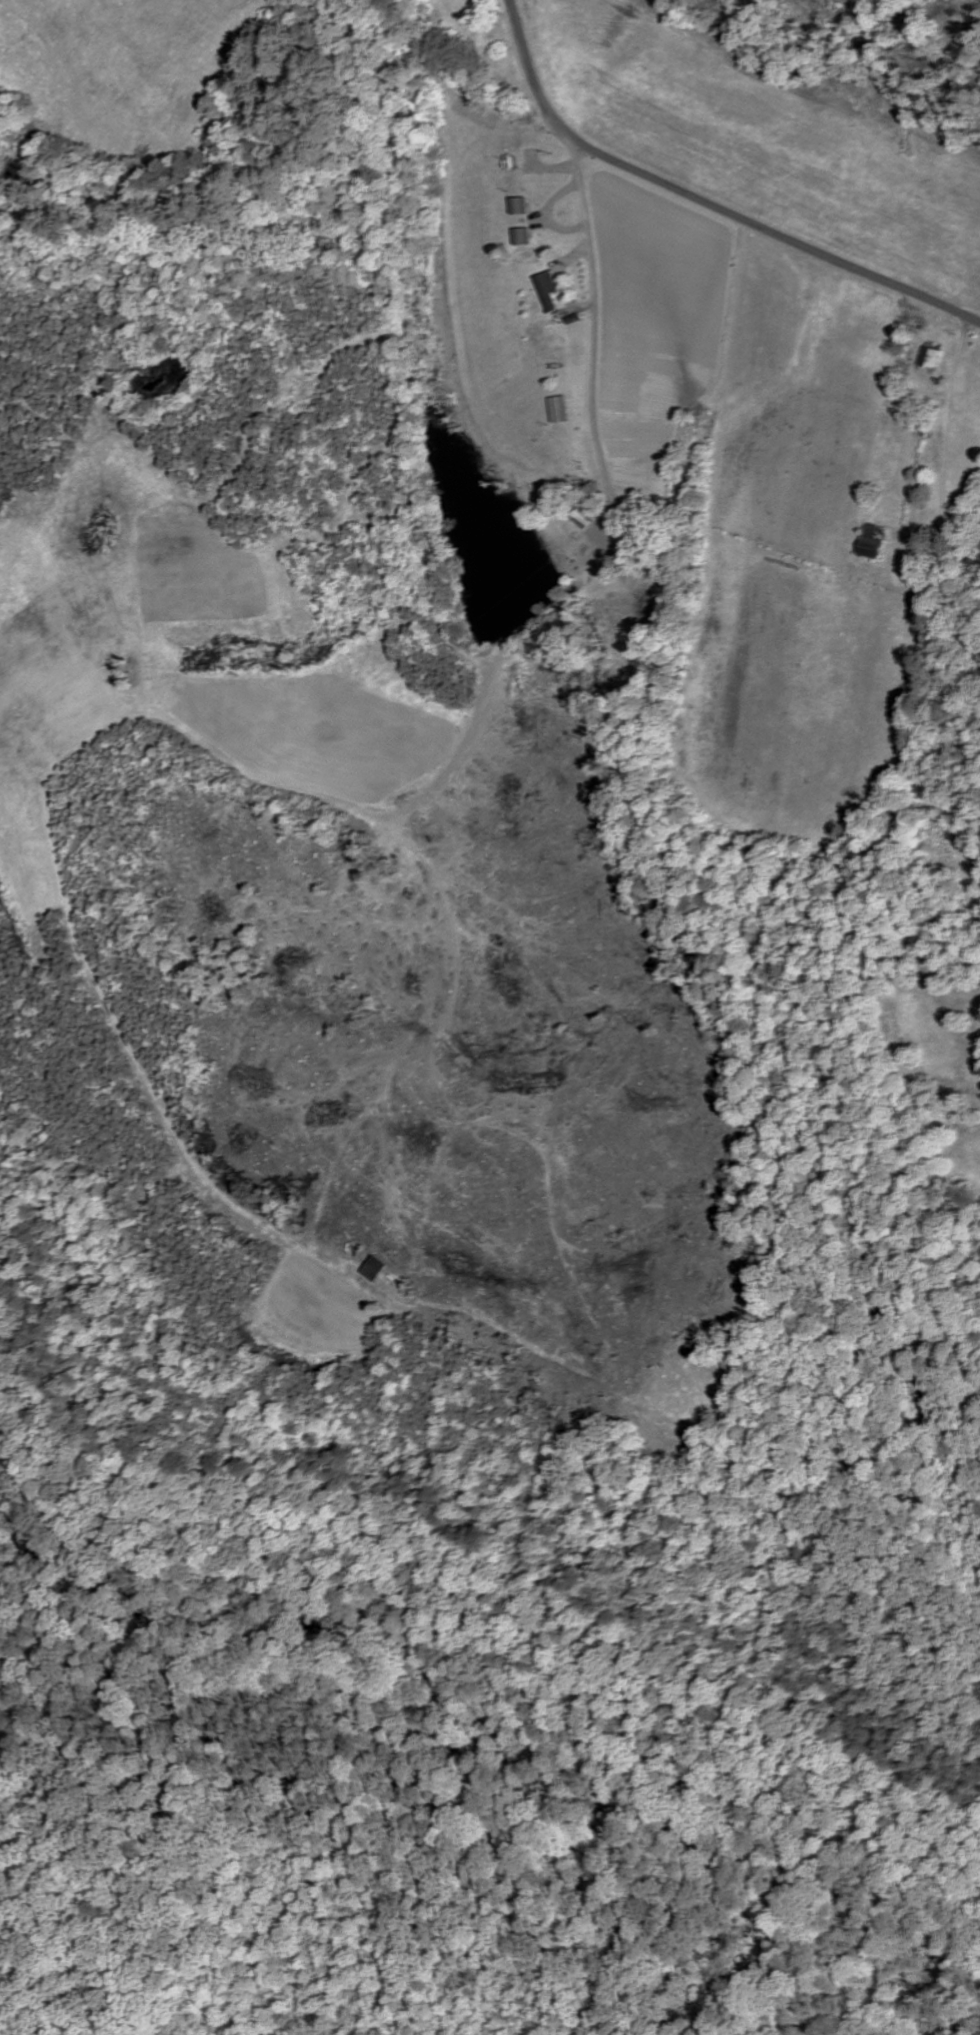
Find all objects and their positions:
road: (552, 169)
road: (703, 203)
road: (546, 217)
building: (519, 238)
road: (561, 284)
building: (546, 291)
road: (595, 321)
building: (930, 360)

